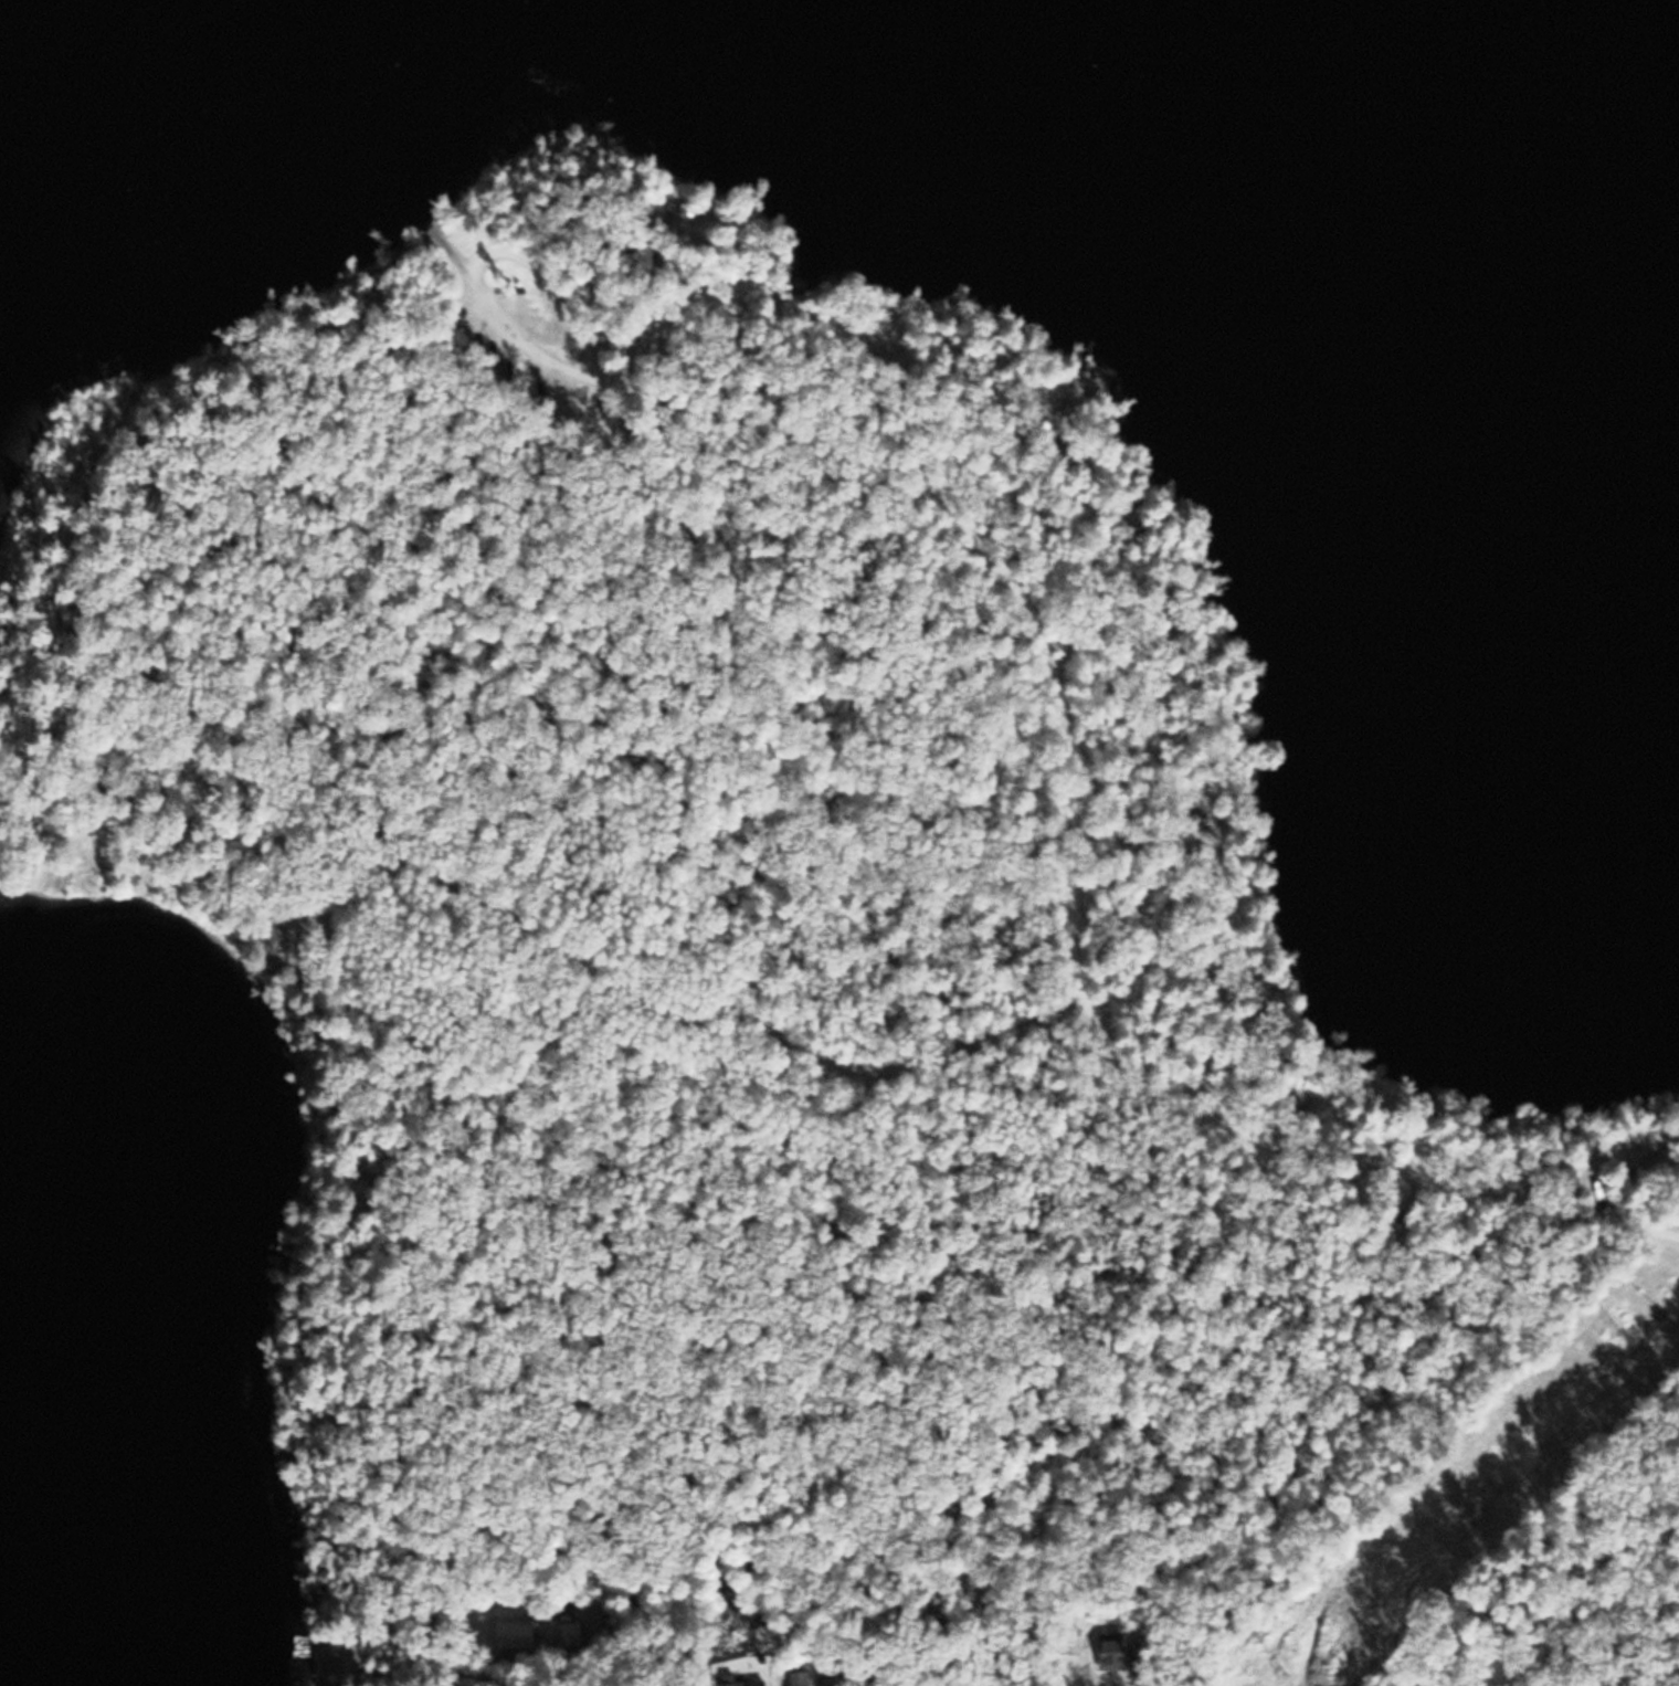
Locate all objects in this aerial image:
river: (190, 112)
river: (1286, 150)
parking lot: (516, 322)
road: (901, 504)
building: (1238, 991)
road: (836, 1074)
building: (1648, 1142)
power tower: (1598, 1326)
building: (566, 1633)
building: (509, 1634)
building: (1101, 1653)
power tower: (1270, 1667)
building: (793, 1678)
building: (825, 1678)
building: (740, 1683)

